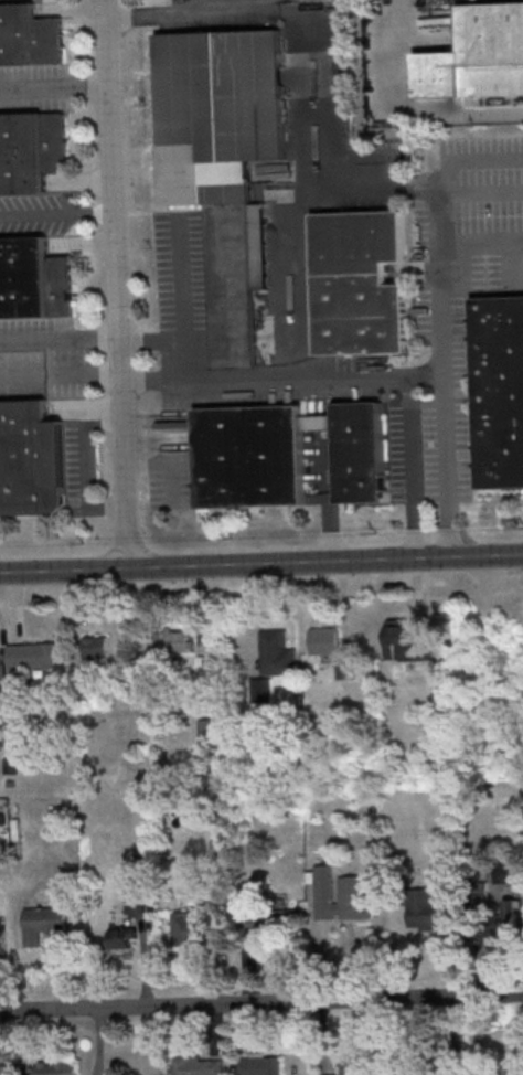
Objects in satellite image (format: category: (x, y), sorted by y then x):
road: (185, 13)
building: (28, 35)
building: (477, 55)
road: (54, 87)
road: (405, 108)
building: (221, 115)
building: (31, 149)
road: (473, 160)
road: (56, 217)
road: (441, 237)
road: (482, 241)
building: (33, 279)
building: (360, 283)
building: (232, 284)
road: (116, 285)
road: (181, 306)
road: (58, 340)
road: (60, 372)
road: (282, 377)
building: (499, 390)
building: (319, 421)
building: (360, 451)
building: (250, 457)
building: (30, 459)
road: (412, 467)
road: (260, 564)
building: (171, 642)
building: (325, 643)
building: (404, 645)
building: (95, 648)
building: (31, 654)
building: (278, 656)
building: (348, 671)
building: (261, 692)
building: (206, 733)
building: (508, 872)
building: (341, 897)
building: (136, 907)
building: (421, 916)
building: (505, 920)
building: (47, 928)
building: (188, 936)
building: (121, 939)
building: (3, 945)
road: (61, 980)
road: (260, 1002)
building: (354, 1065)
building: (260, 1066)
building: (198, 1067)
building: (57, 1069)
building: (327, 1074)
building: (501, 1074)

